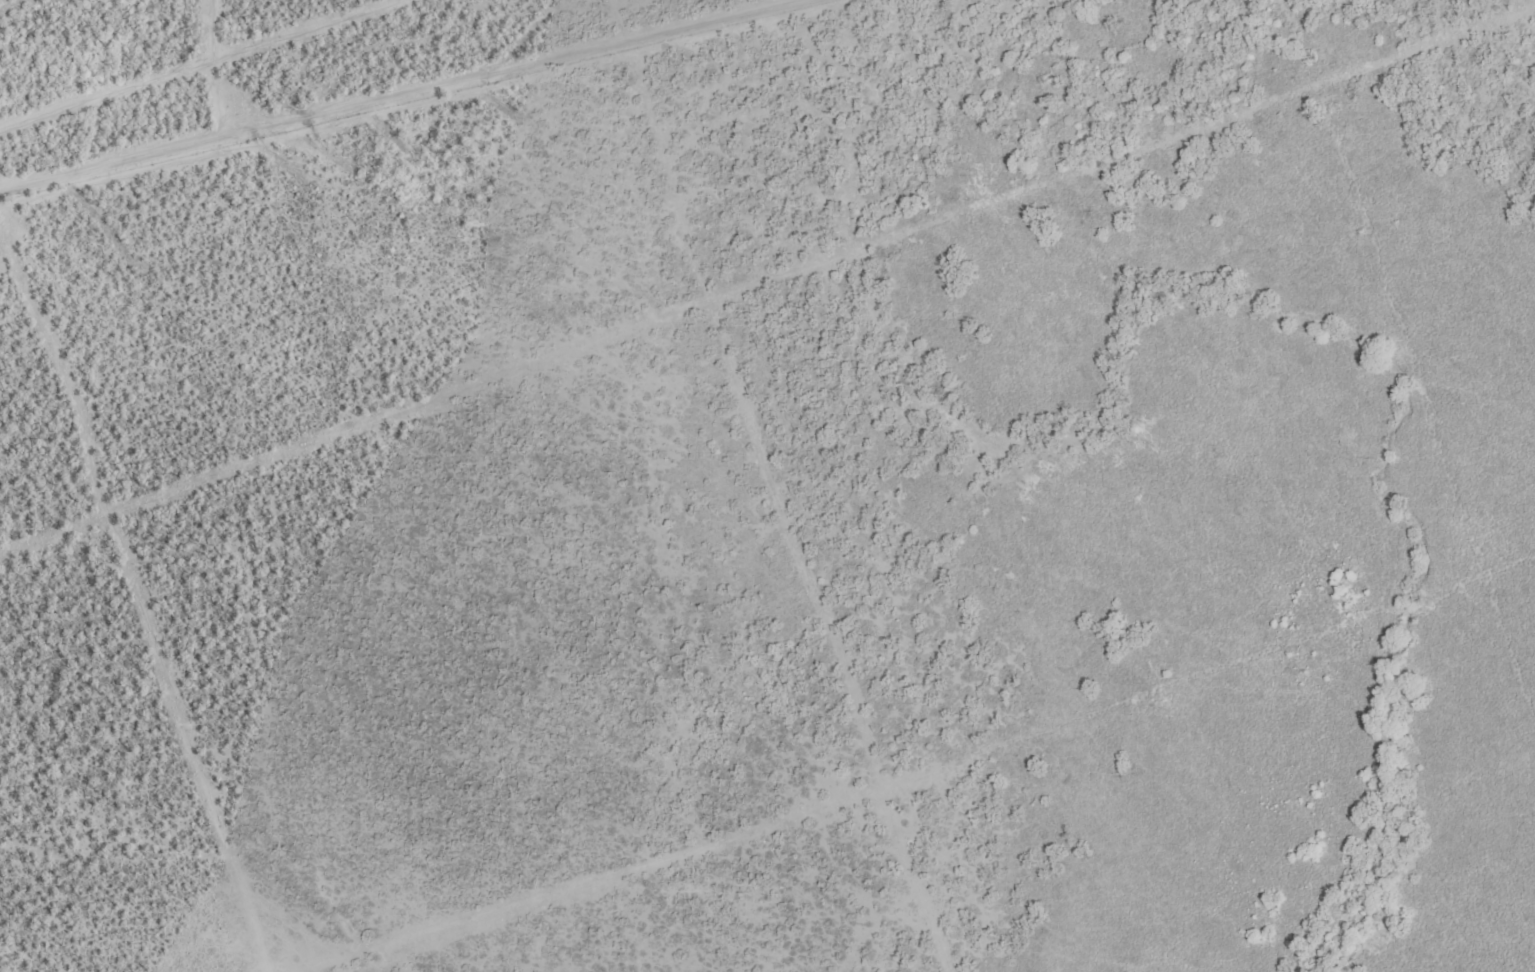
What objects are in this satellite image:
road: (395, 97)

